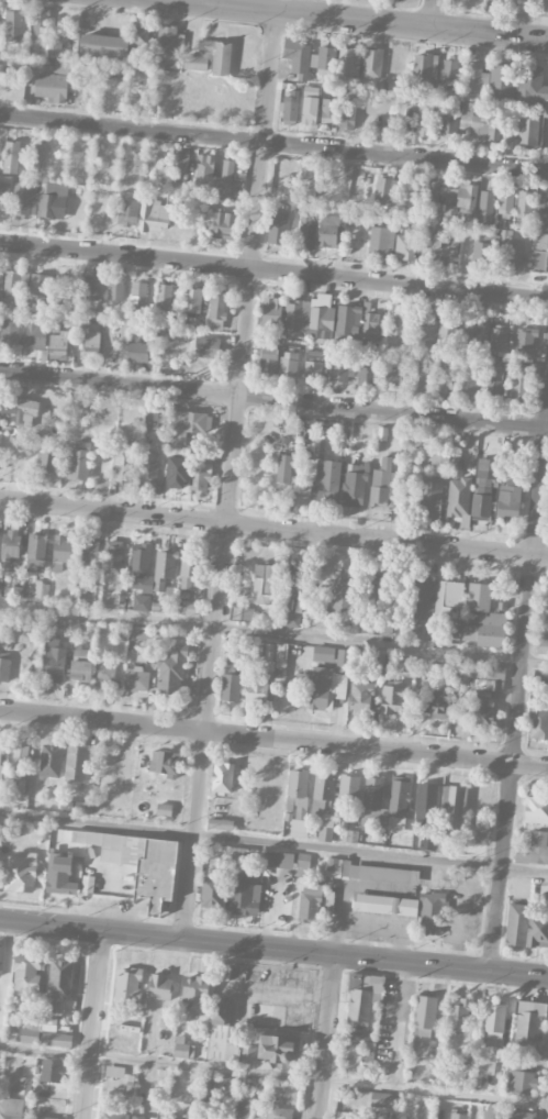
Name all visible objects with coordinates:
building: (503, 0)
road: (199, 2)
road: (435, 14)
road: (351, 21)
building: (14, 25)
building: (0, 27)
building: (44, 35)
building: (141, 37)
building: (169, 40)
building: (103, 44)
building: (210, 57)
building: (324, 57)
building: (297, 60)
building: (371, 63)
building: (349, 64)
building: (417, 65)
building: (63, 66)
building: (450, 68)
building: (476, 78)
building: (501, 80)
building: (51, 87)
building: (526, 87)
building: (310, 106)
building: (291, 107)
building: (328, 109)
building: (347, 114)
building: (424, 120)
building: (449, 122)
building: (481, 123)
building: (528, 132)
road: (273, 141)
building: (37, 155)
building: (11, 157)
building: (134, 162)
building: (155, 162)
building: (181, 163)
building: (204, 169)
building: (227, 173)
building: (317, 174)
building: (385, 190)
building: (452, 195)
building: (4, 196)
building: (24, 199)
building: (53, 200)
building: (487, 201)
building: (505, 202)
building: (525, 204)
building: (126, 209)
building: (543, 210)
building: (154, 215)
building: (223, 224)
building: (328, 226)
building: (278, 228)
building: (306, 228)
building: (381, 240)
building: (405, 245)
building: (440, 246)
building: (481, 247)
building: (513, 250)
building: (538, 252)
road: (273, 272)
building: (11, 279)
building: (1, 282)
building: (38, 285)
building: (65, 285)
building: (90, 288)
building: (115, 290)
building: (138, 292)
building: (164, 296)
building: (192, 299)
building: (216, 310)
building: (272, 312)
building: (310, 317)
building: (348, 321)
building: (399, 324)
building: (370, 329)
building: (448, 330)
building: (425, 331)
building: (476, 332)
building: (35, 333)
building: (497, 337)
building: (525, 342)
building: (59, 344)
building: (91, 344)
building: (208, 346)
building: (137, 352)
building: (268, 362)
building: (289, 363)
building: (314, 364)
building: (340, 370)
building: (367, 372)
building: (392, 374)
building: (420, 381)
building: (444, 383)
building: (469, 385)
building: (493, 386)
building: (519, 386)
road: (273, 400)
building: (19, 407)
building: (187, 426)
building: (1, 457)
building: (79, 459)
building: (439, 463)
building: (48, 464)
building: (124, 465)
building: (149, 465)
building: (284, 468)
building: (176, 472)
building: (326, 474)
building: (200, 476)
road: (230, 476)
building: (355, 484)
building: (381, 484)
building: (483, 488)
building: (458, 490)
building: (430, 499)
building: (508, 502)
road: (273, 529)
building: (10, 544)
building: (36, 545)
building: (61, 553)
building: (89, 556)
building: (113, 556)
building: (32, 567)
building: (141, 568)
building: (164, 568)
building: (190, 572)
building: (264, 584)
building: (374, 588)
building: (15, 591)
building: (343, 591)
building: (449, 595)
building: (293, 596)
building: (422, 598)
building: (141, 602)
building: (190, 608)
building: (242, 613)
building: (547, 616)
building: (483, 619)
building: (316, 620)
building: (70, 627)
building: (415, 632)
road: (273, 633)
building: (440, 636)
building: (543, 646)
building: (268, 651)
building: (323, 654)
building: (343, 660)
building: (53, 661)
building: (281, 661)
building: (379, 663)
building: (80, 664)
building: (4, 669)
building: (170, 671)
building: (103, 673)
building: (231, 676)
building: (540, 677)
building: (136, 678)
building: (320, 687)
building: (257, 691)
building: (361, 695)
building: (488, 695)
road: (518, 695)
building: (392, 698)
building: (439, 703)
building: (539, 723)
road: (273, 738)
building: (20, 755)
building: (51, 761)
building: (76, 762)
building: (155, 763)
building: (1, 766)
building: (222, 777)
building: (349, 787)
building: (298, 791)
building: (443, 804)
building: (324, 805)
building: (379, 805)
building: (75, 806)
building: (164, 809)
building: (536, 809)
building: (221, 823)
building: (404, 841)
building: (427, 841)
road: (273, 844)
building: (533, 849)
building: (245, 854)
building: (279, 860)
building: (303, 860)
building: (138, 863)
building: (372, 872)
building: (20, 873)
building: (59, 876)
building: (213, 893)
building: (242, 893)
building: (311, 901)
building: (407, 909)
building: (526, 927)
road: (273, 950)
building: (0, 956)
building: (26, 973)
building: (60, 978)
building: (128, 984)
building: (158, 986)
building: (194, 994)
building: (361, 1001)
building: (459, 1012)
building: (424, 1017)
building: (166, 1020)
building: (494, 1020)
building: (529, 1020)
building: (48, 1023)
road: (91, 1026)
building: (31, 1030)
building: (222, 1031)
building: (354, 1035)
road: (325, 1037)
building: (55, 1039)
building: (368, 1043)
building: (182, 1048)
building: (279, 1050)
building: (247, 1054)
building: (467, 1056)
building: (52, 1070)
building: (482, 1072)
road: (273, 1075)
building: (524, 1082)
building: (24, 1085)
building: (381, 1100)
building: (10, 1108)
building: (243, 1108)
building: (280, 1111)
building: (190, 1112)
building: (493, 1112)
building: (113, 1115)
building: (519, 1115)
building: (458, 1116)
building: (42, 1117)
building: (138, 1117)
building: (339, 1118)

